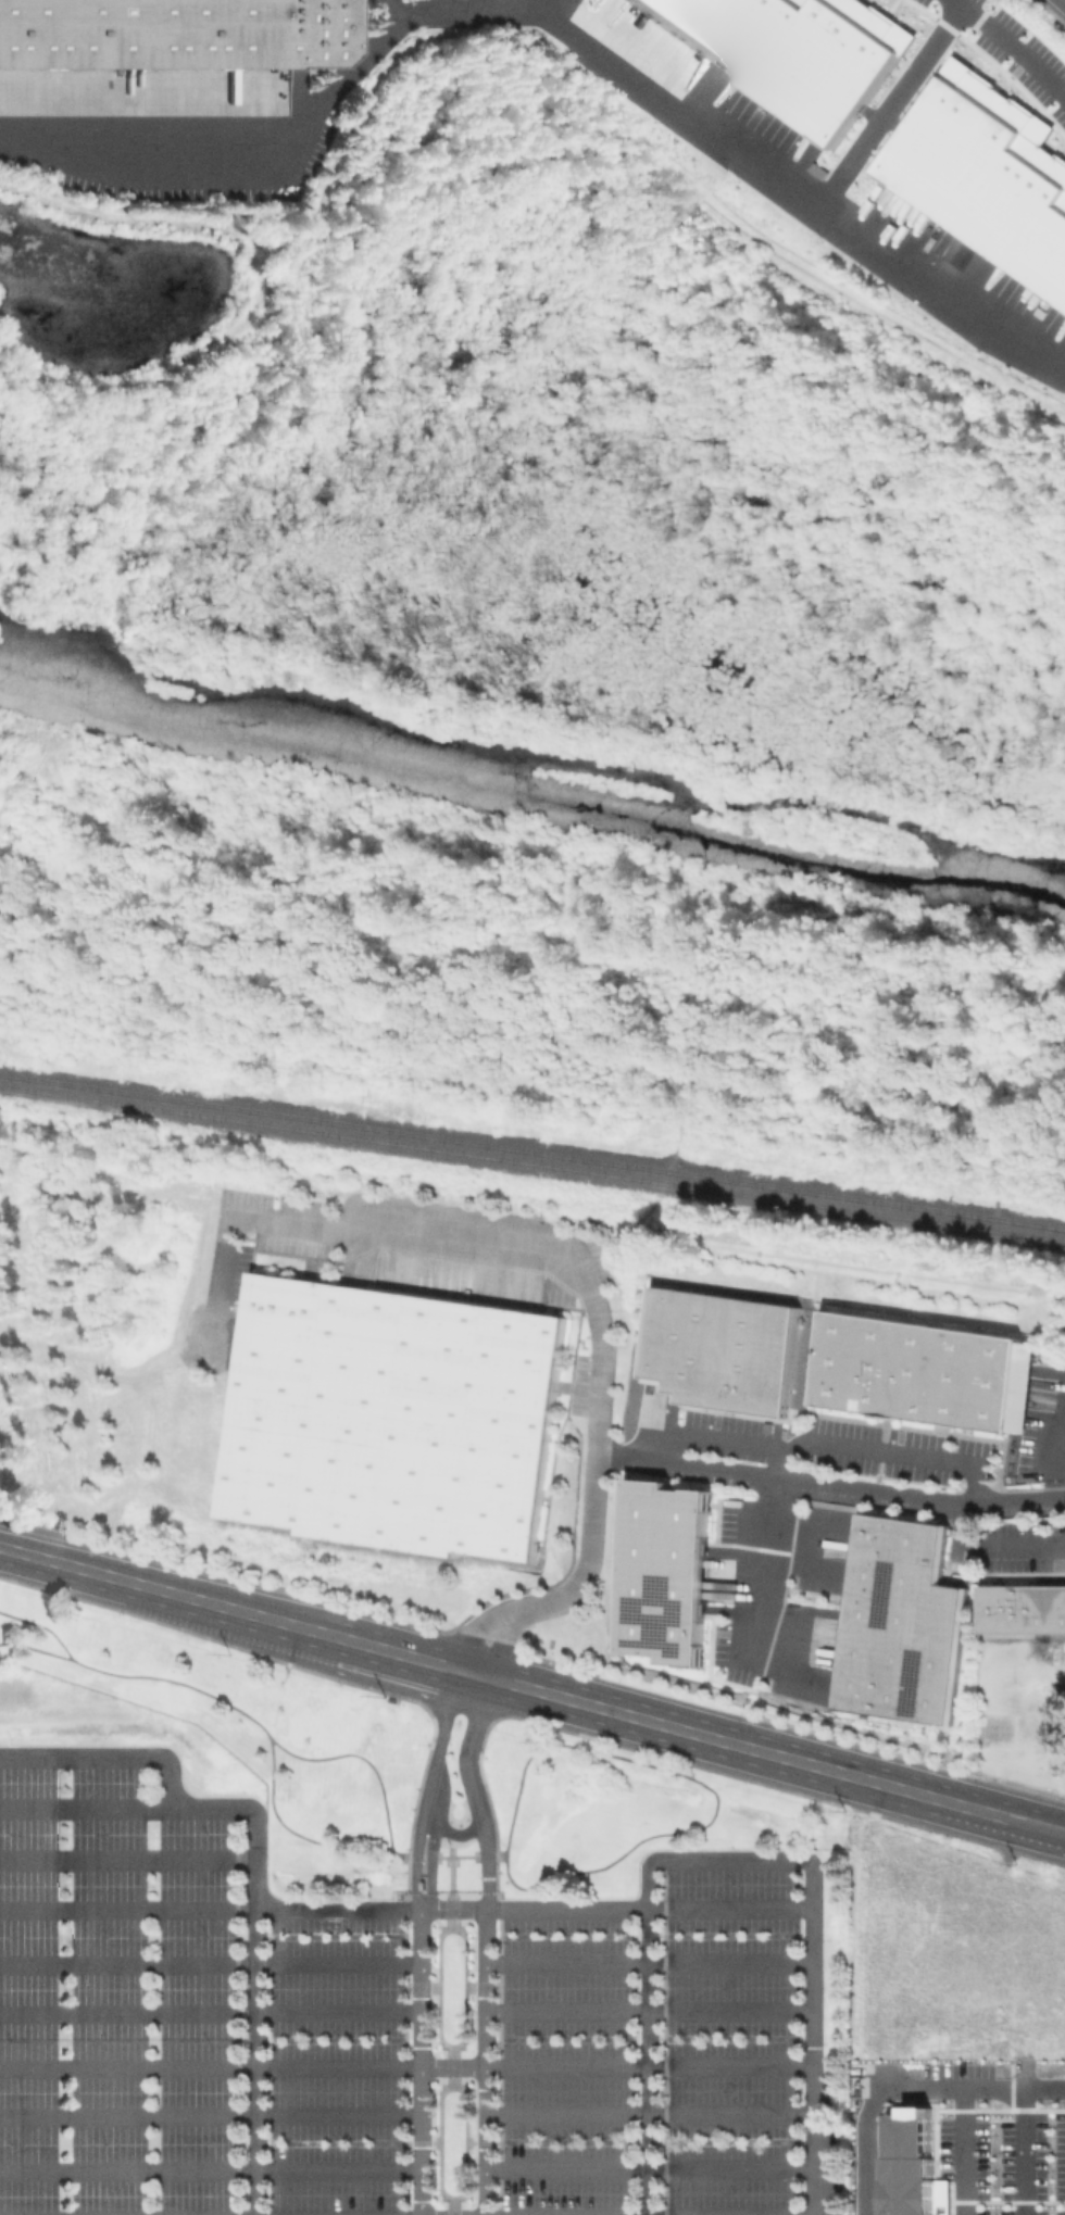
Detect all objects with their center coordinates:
road: (544, 2)
road: (561, 2)
road: (1062, 2)
road: (477, 4)
road: (388, 16)
road: (1012, 43)
building: (792, 51)
building: (163, 53)
road: (890, 105)
road: (623, 134)
road: (291, 148)
building: (987, 173)
road: (800, 191)
road: (129, 216)
road: (159, 374)
railway: (532, 1149)
railway: (531, 1161)
road: (594, 1304)
building: (722, 1348)
building: (928, 1374)
building: (393, 1419)
road: (823, 1443)
road: (1057, 1446)
road: (781, 1464)
road: (830, 1488)
road: (995, 1547)
road: (764, 1569)
building: (661, 1572)
road: (170, 1593)
building: (1025, 1610)
building: (900, 1623)
road: (41, 1626)
road: (476, 1626)
road: (485, 1635)
road: (503, 1644)
road: (36, 1648)
road: (398, 1654)
road: (528, 1690)
road: (759, 1696)
road: (776, 1723)
road: (672, 1727)
road: (267, 1741)
road: (437, 1744)
road: (360, 1757)
road: (163, 1759)
road: (690, 1761)
road: (870, 1780)
road: (701, 1784)
road: (85, 1807)
road: (1030, 1810)
road: (454, 1832)
road: (1028, 1834)
flagpole: (449, 1849)
road: (454, 1855)
road: (126, 1860)
road: (413, 1863)
road: (428, 1864)
road: (449, 1891)
road: (126, 1908)
road: (369, 1908)
road: (496, 1908)
road: (653, 1935)
road: (327, 1936)
road: (485, 1943)
road: (647, 1962)
road: (210, 1963)
road: (810, 1972)
road: (647, 1981)
road: (480, 1986)
road: (419, 1987)
road: (648, 2010)
road: (210, 2011)
road: (235, 2011)
parking lot: (388, 2028)
road: (254, 2030)
road: (463, 2031)
road: (662, 2036)
road: (328, 2038)
road: (654, 2038)
road: (402, 2052)
road: (422, 2062)
road: (532, 2065)
road: (126, 2066)
road: (450, 2066)
road: (498, 2066)
road: (1042, 2087)
road: (950, 2088)
road: (463, 2098)
road: (648, 2112)
road: (210, 2113)
road: (638, 2141)
road: (346, 2142)
road: (964, 2151)
building: (911, 2163)
road: (648, 2167)
road: (211, 2170)
road: (450, 2205)
road: (812, 2214)

